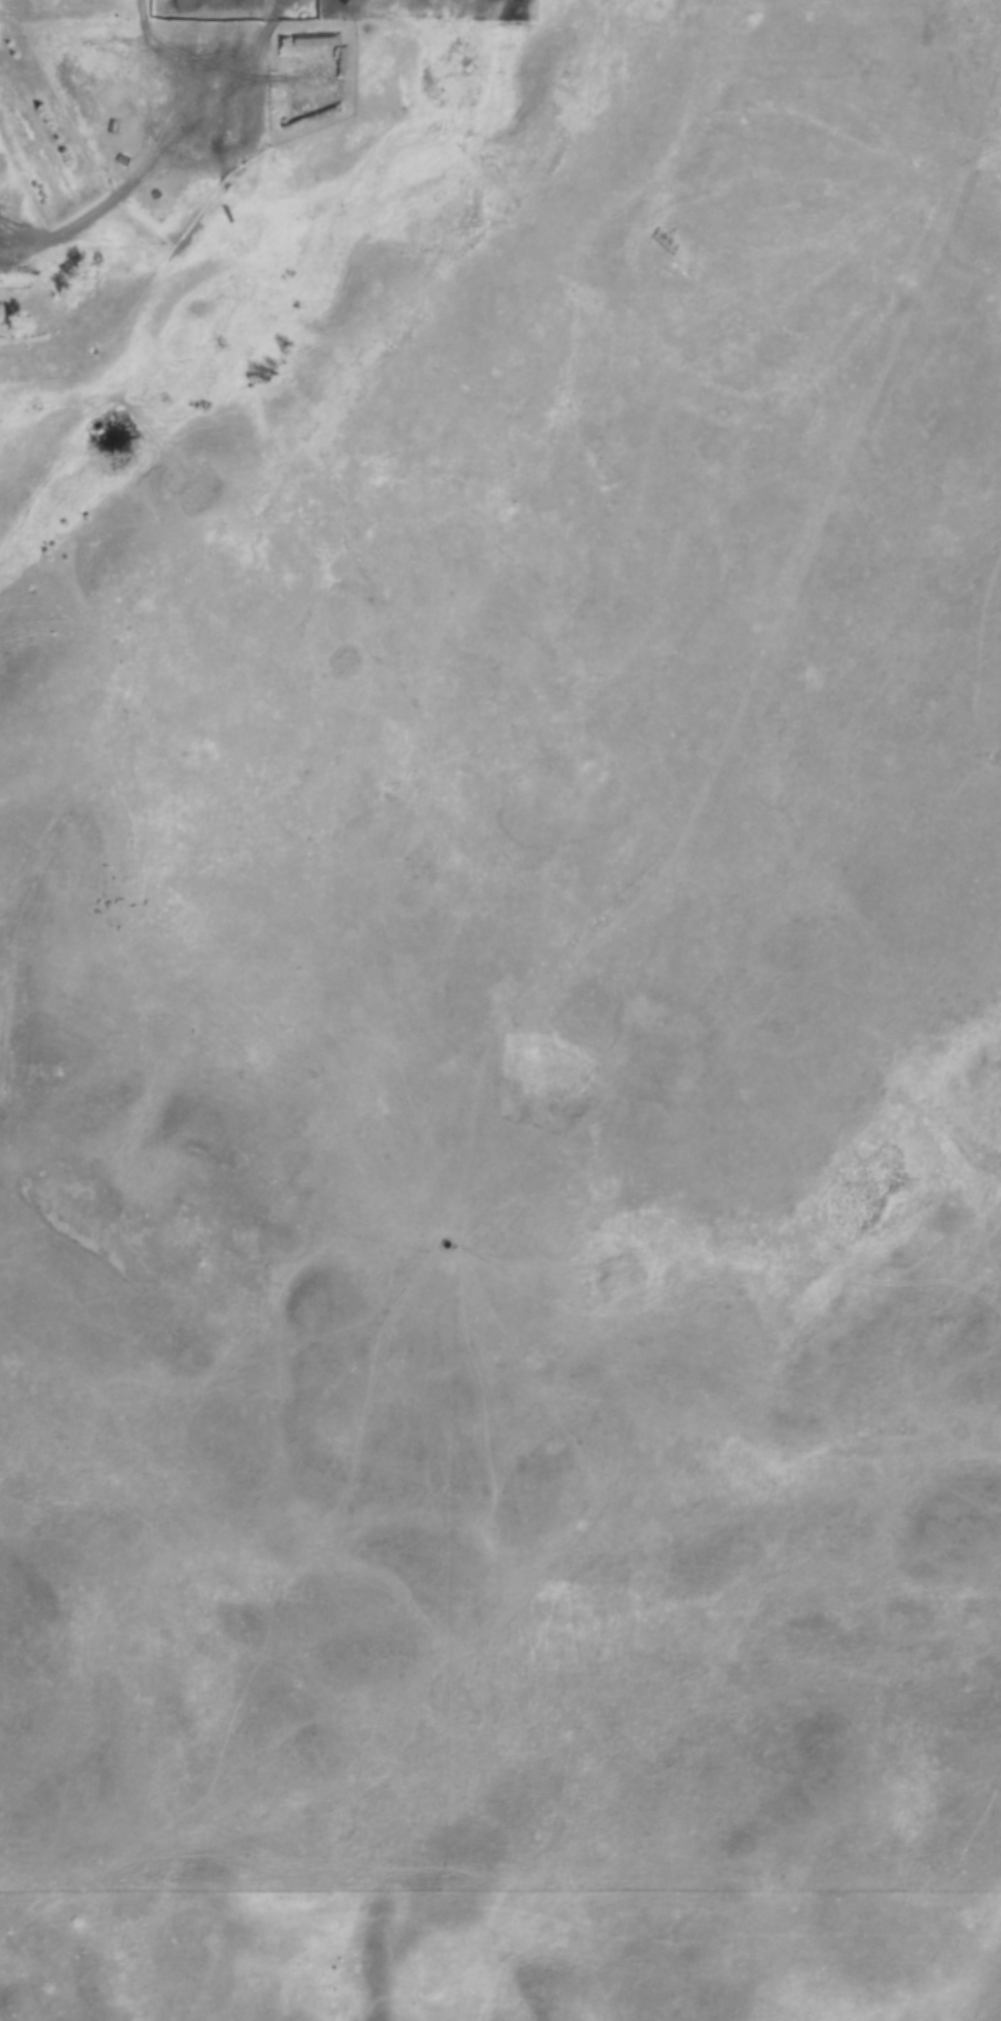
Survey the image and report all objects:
road: (500, 1897)

